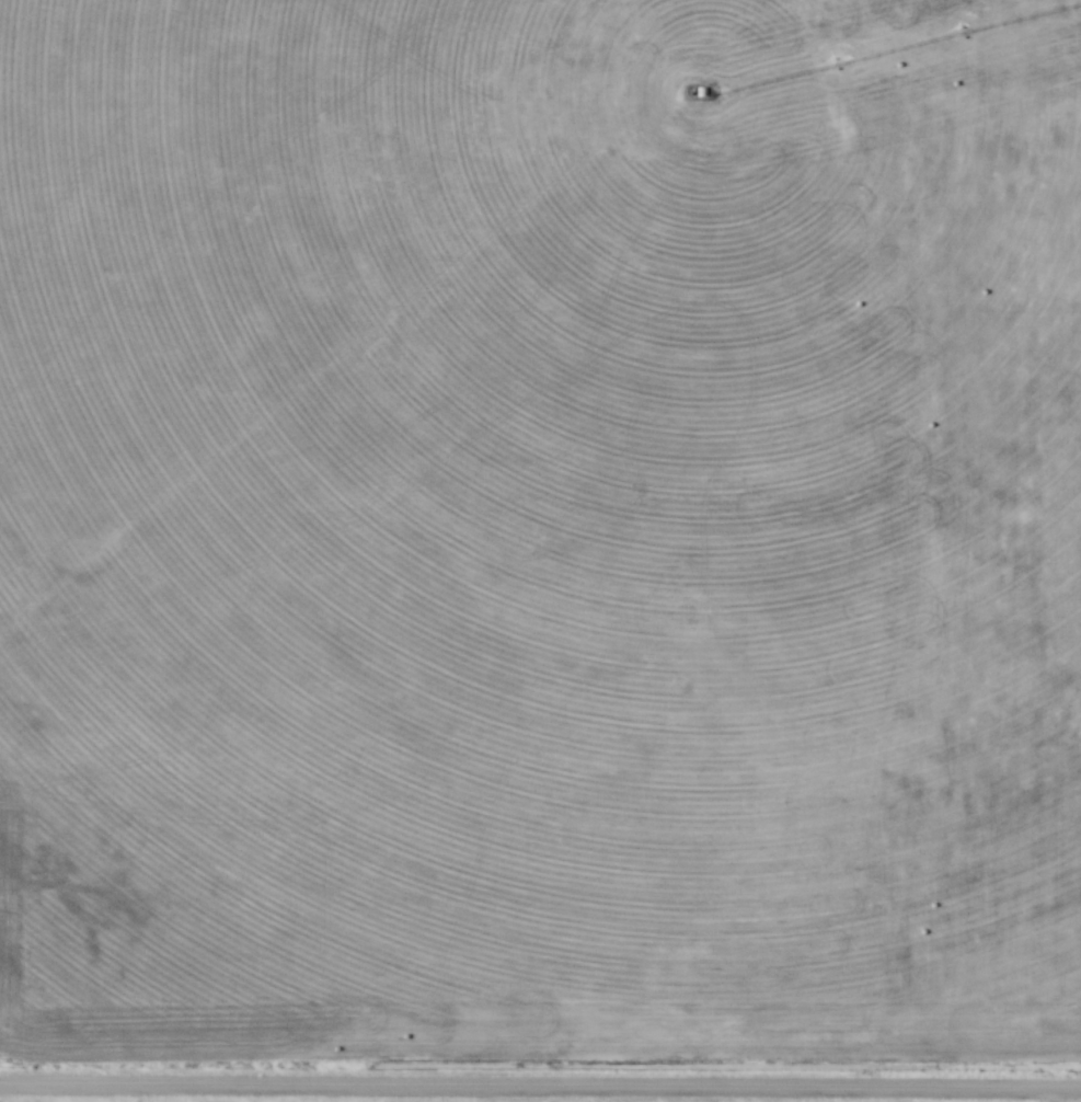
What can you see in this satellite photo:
road: (540, 1087)

